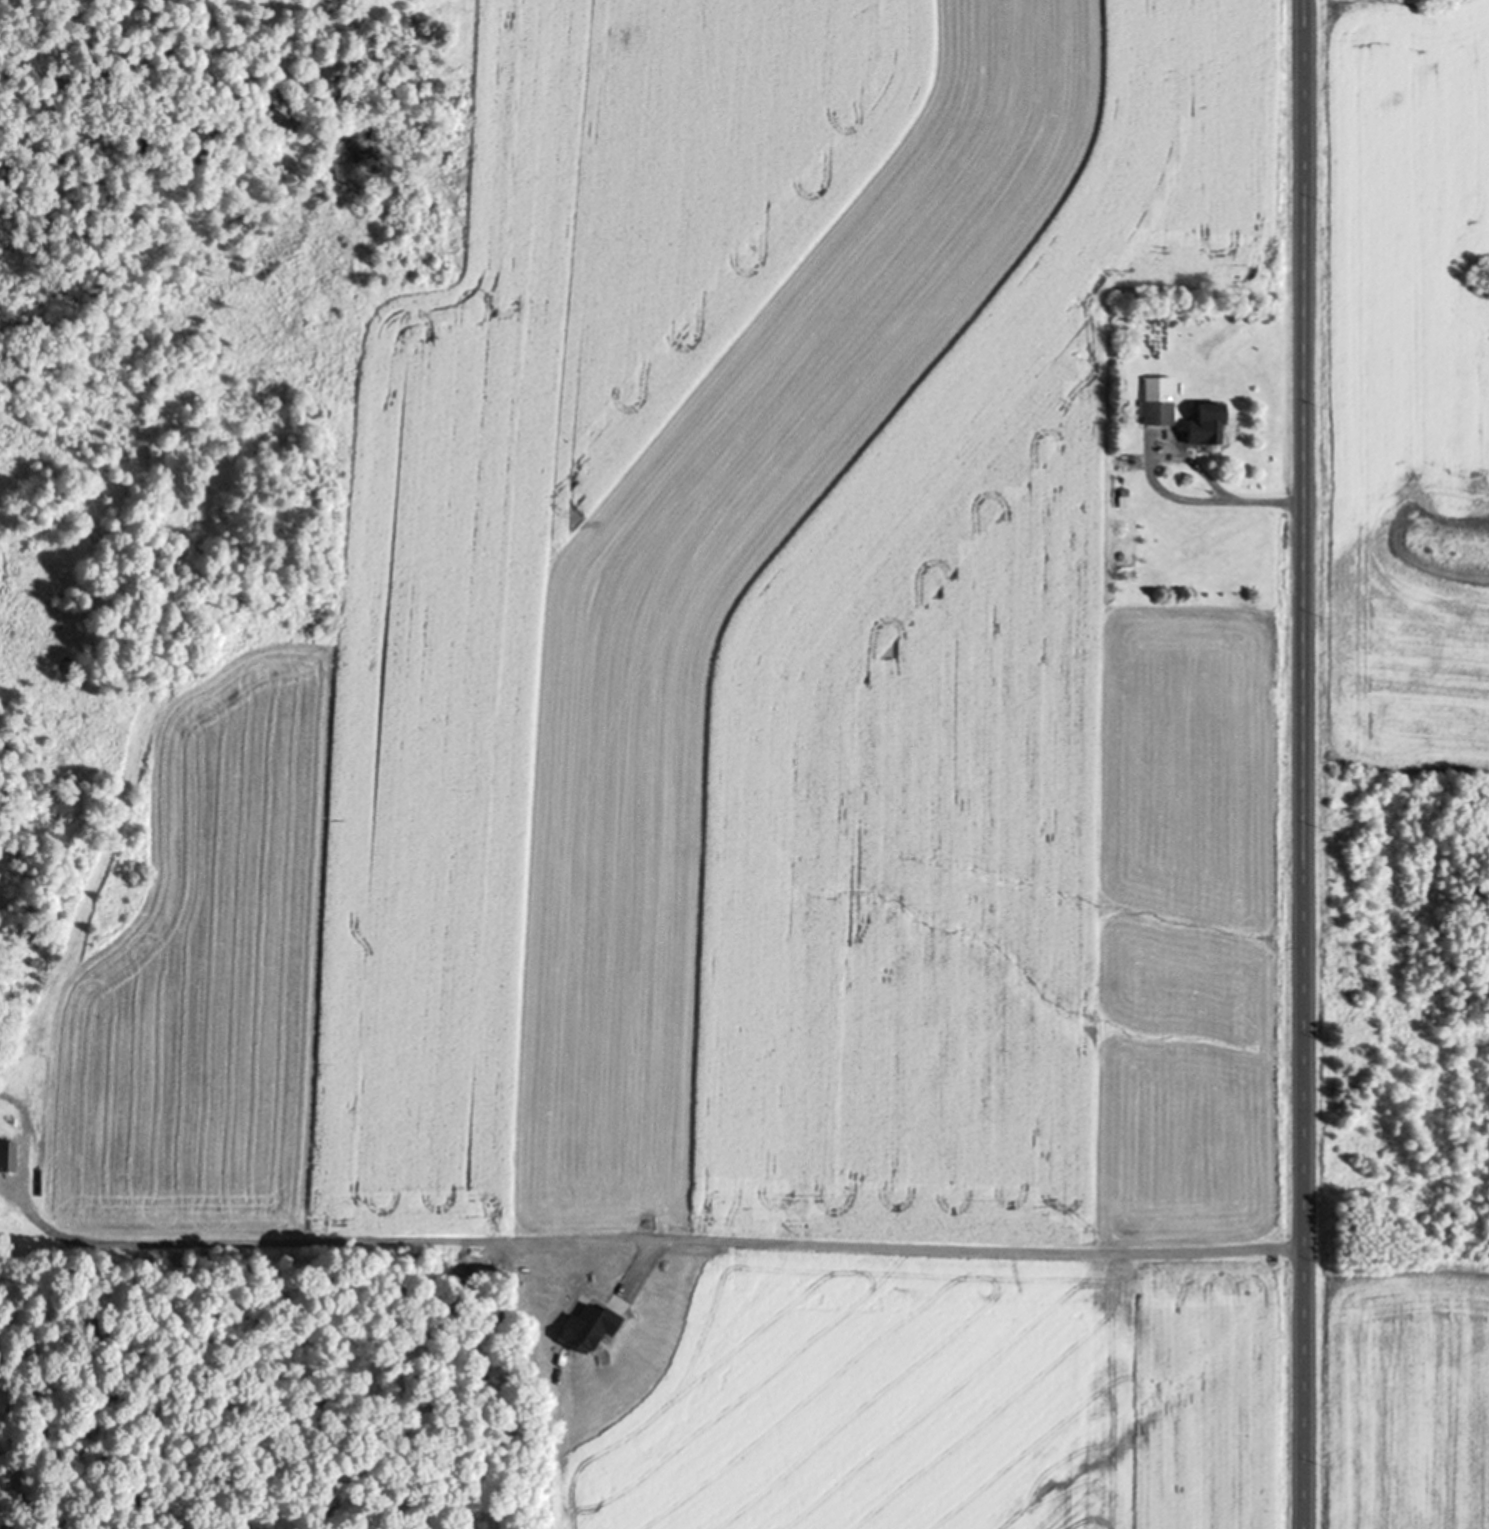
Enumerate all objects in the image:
building: (1154, 409)
building: (1200, 426)
building: (1120, 495)
road: (1304, 764)
building: (5, 1159)

